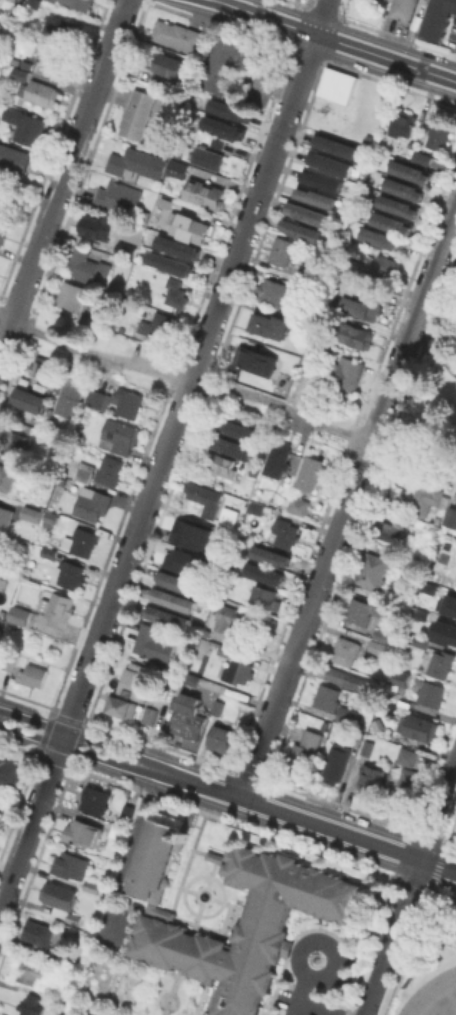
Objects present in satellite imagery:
building: (11, 0)
building: (34, 3)
building: (77, 5)
building: (403, 9)
road: (322, 17)
building: (439, 18)
building: (63, 28)
building: (177, 35)
road: (335, 40)
building: (56, 57)
building: (168, 64)
building: (224, 66)
building: (20, 73)
building: (338, 84)
building: (40, 92)
building: (228, 110)
building: (137, 113)
building: (402, 123)
building: (23, 125)
building: (222, 127)
building: (437, 136)
building: (221, 144)
building: (337, 144)
building: (168, 148)
building: (207, 157)
building: (418, 157)
building: (14, 158)
building: (132, 161)
building: (330, 161)
building: (179, 166)
building: (412, 168)
road: (63, 174)
building: (322, 175)
building: (405, 185)
building: (204, 193)
building: (316, 193)
building: (118, 196)
building: (159, 202)
building: (399, 202)
building: (308, 209)
building: (142, 215)
building: (393, 219)
building: (99, 226)
building: (301, 226)
building: (190, 227)
building: (3, 229)
building: (383, 236)
building: (181, 250)
building: (281, 250)
building: (84, 264)
building: (383, 264)
building: (175, 267)
building: (300, 285)
building: (117, 286)
building: (272, 291)
building: (176, 292)
building: (73, 297)
building: (371, 298)
building: (267, 324)
building: (158, 325)
building: (357, 335)
building: (256, 359)
road: (428, 363)
building: (45, 367)
building: (285, 372)
building: (345, 374)
park: (437, 379)
road: (228, 387)
building: (96, 397)
building: (32, 399)
building: (71, 400)
building: (129, 402)
building: (237, 425)
building: (118, 435)
building: (18, 440)
building: (230, 443)
building: (278, 459)
building: (223, 465)
road: (157, 471)
building: (112, 473)
building: (310, 473)
building: (8, 474)
building: (85, 474)
building: (43, 481)
building: (205, 498)
building: (429, 498)
road: (349, 501)
building: (92, 503)
building: (298, 505)
building: (256, 508)
building: (30, 513)
building: (229, 514)
building: (6, 515)
building: (451, 516)
building: (50, 518)
building: (386, 530)
building: (285, 532)
building: (190, 534)
building: (13, 540)
building: (84, 541)
building: (49, 552)
building: (271, 554)
building: (182, 560)
building: (372, 569)
building: (264, 570)
building: (72, 575)
building: (176, 582)
building: (455, 582)
building: (426, 586)
building: (266, 594)
building: (174, 598)
building: (56, 603)
building: (445, 603)
building: (360, 610)
building: (16, 613)
building: (418, 613)
building: (168, 615)
building: (226, 617)
building: (0, 629)
building: (442, 631)
building: (382, 635)
building: (421, 641)
building: (153, 642)
building: (378, 647)
building: (346, 650)
building: (441, 663)
building: (240, 671)
building: (33, 675)
building: (399, 677)
building: (178, 678)
building: (193, 678)
building: (352, 679)
building: (133, 682)
building: (432, 693)
building: (327, 696)
building: (397, 698)
building: (119, 703)
building: (218, 707)
building: (146, 715)
building: (189, 715)
building: (346, 715)
building: (421, 727)
building: (220, 737)
building: (356, 737)
building: (367, 746)
building: (304, 753)
building: (407, 755)
building: (337, 761)
building: (10, 772)
building: (371, 781)
building: (408, 783)
road: (227, 794)
building: (95, 799)
building: (128, 811)
road: (438, 811)
building: (119, 831)
building: (83, 833)
building: (71, 865)
building: (92, 886)
building: (61, 900)
building: (264, 914)
building: (39, 932)
road: (393, 937)
road: (322, 941)
building: (29, 972)
building: (72, 972)
track: (427, 991)
road: (301, 994)
stadium: (441, 1003)
building: (30, 1005)
road: (314, 1009)
park: (441, 1013)

